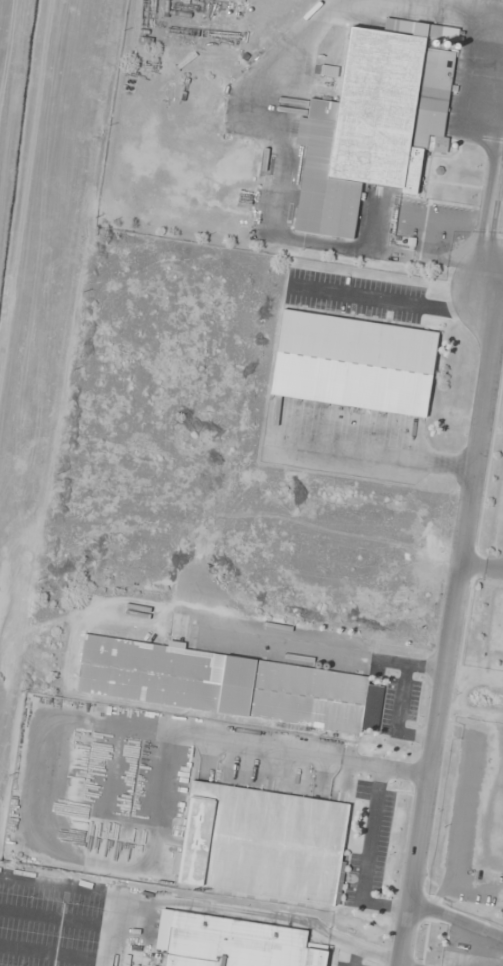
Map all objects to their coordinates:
building: (371, 123)
road: (502, 293)
building: (352, 363)
road: (452, 629)
building: (226, 684)
building: (26, 753)
building: (262, 843)
building: (232, 942)

